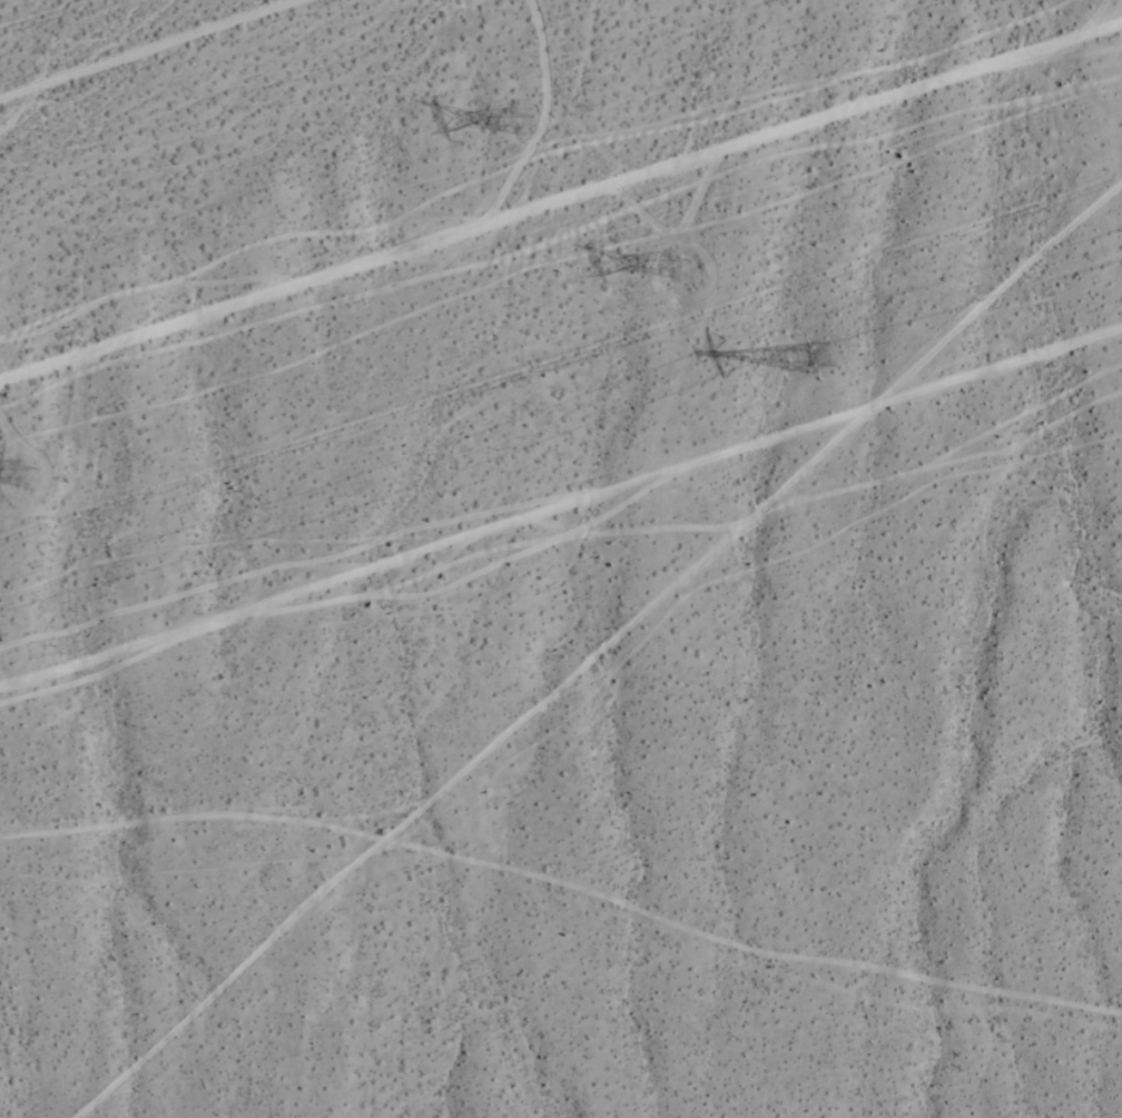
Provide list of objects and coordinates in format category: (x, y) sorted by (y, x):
power tower: (524, 123)
road: (560, 185)
power tower: (682, 264)
power tower: (831, 353)
power tower: (29, 475)
road: (561, 498)
road: (593, 647)
road: (563, 883)

